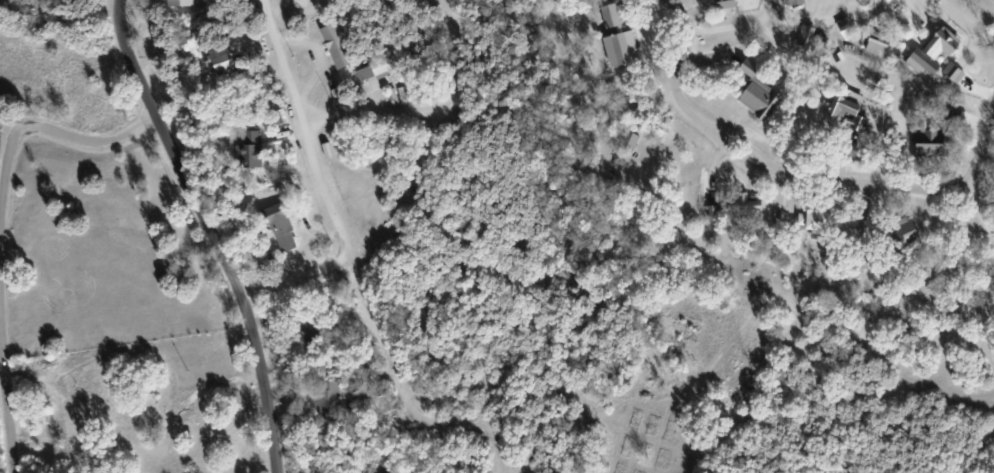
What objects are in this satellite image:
building: (178, 3)
building: (792, 3)
building: (724, 4)
road: (989, 4)
building: (609, 16)
building: (843, 29)
building: (804, 36)
building: (876, 43)
building: (334, 46)
building: (619, 49)
building: (932, 51)
building: (219, 61)
building: (374, 68)
building: (951, 72)
building: (756, 92)
building: (402, 93)
building: (392, 96)
road: (436, 107)
building: (847, 109)
building: (629, 141)
building: (927, 141)
building: (247, 150)
road: (801, 170)
road: (322, 178)
building: (744, 203)
building: (712, 212)
building: (813, 220)
road: (2, 224)
building: (279, 225)
building: (902, 231)
road: (209, 233)
building: (329, 398)

